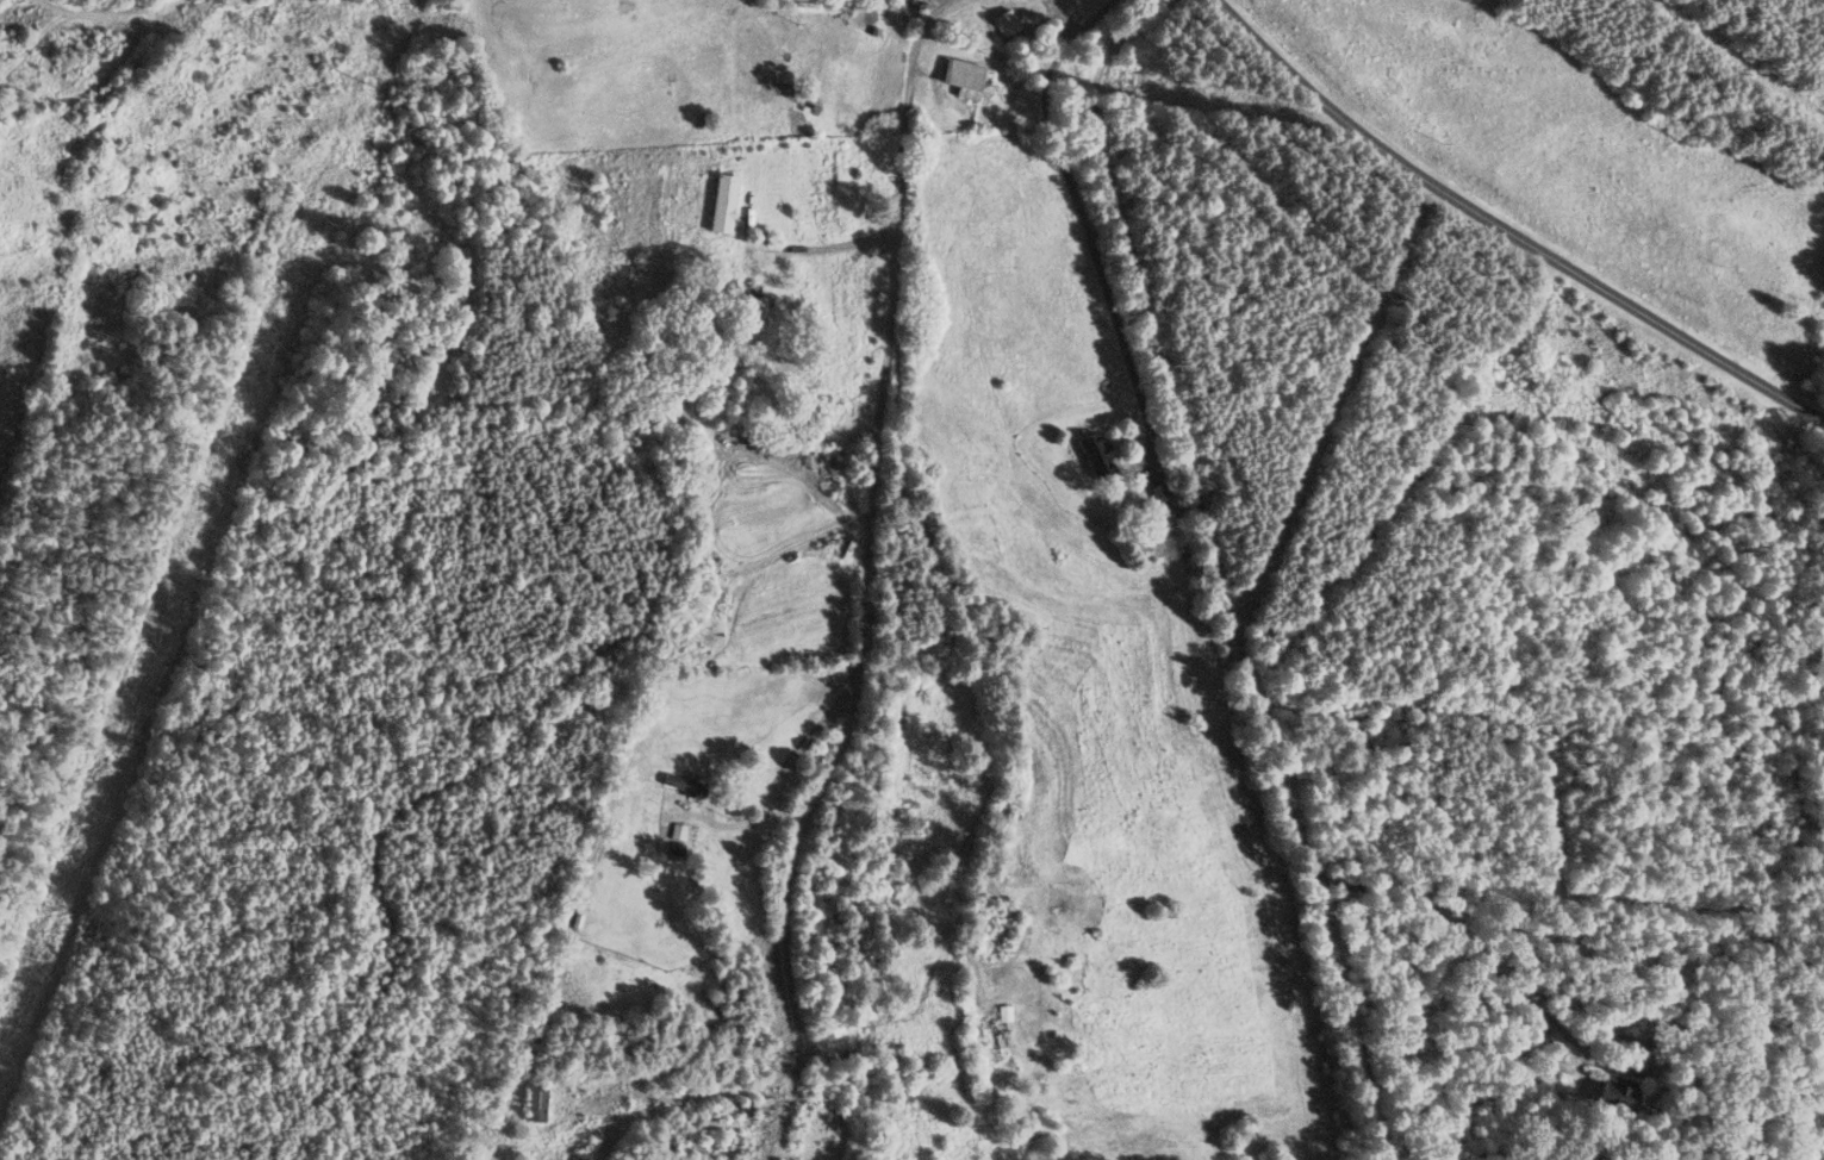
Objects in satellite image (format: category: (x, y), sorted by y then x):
building: (1007, 25)
building: (963, 77)
road: (108, 88)
building: (722, 202)
road: (1085, 225)
road: (1507, 225)
road: (834, 247)
building: (754, 308)
building: (1132, 494)
road: (866, 582)
road: (1220, 584)
road: (780, 768)
building: (683, 782)
building: (991, 1031)
road: (1642, 1052)
building: (1617, 1092)
building: (535, 1103)
building: (718, 1123)

